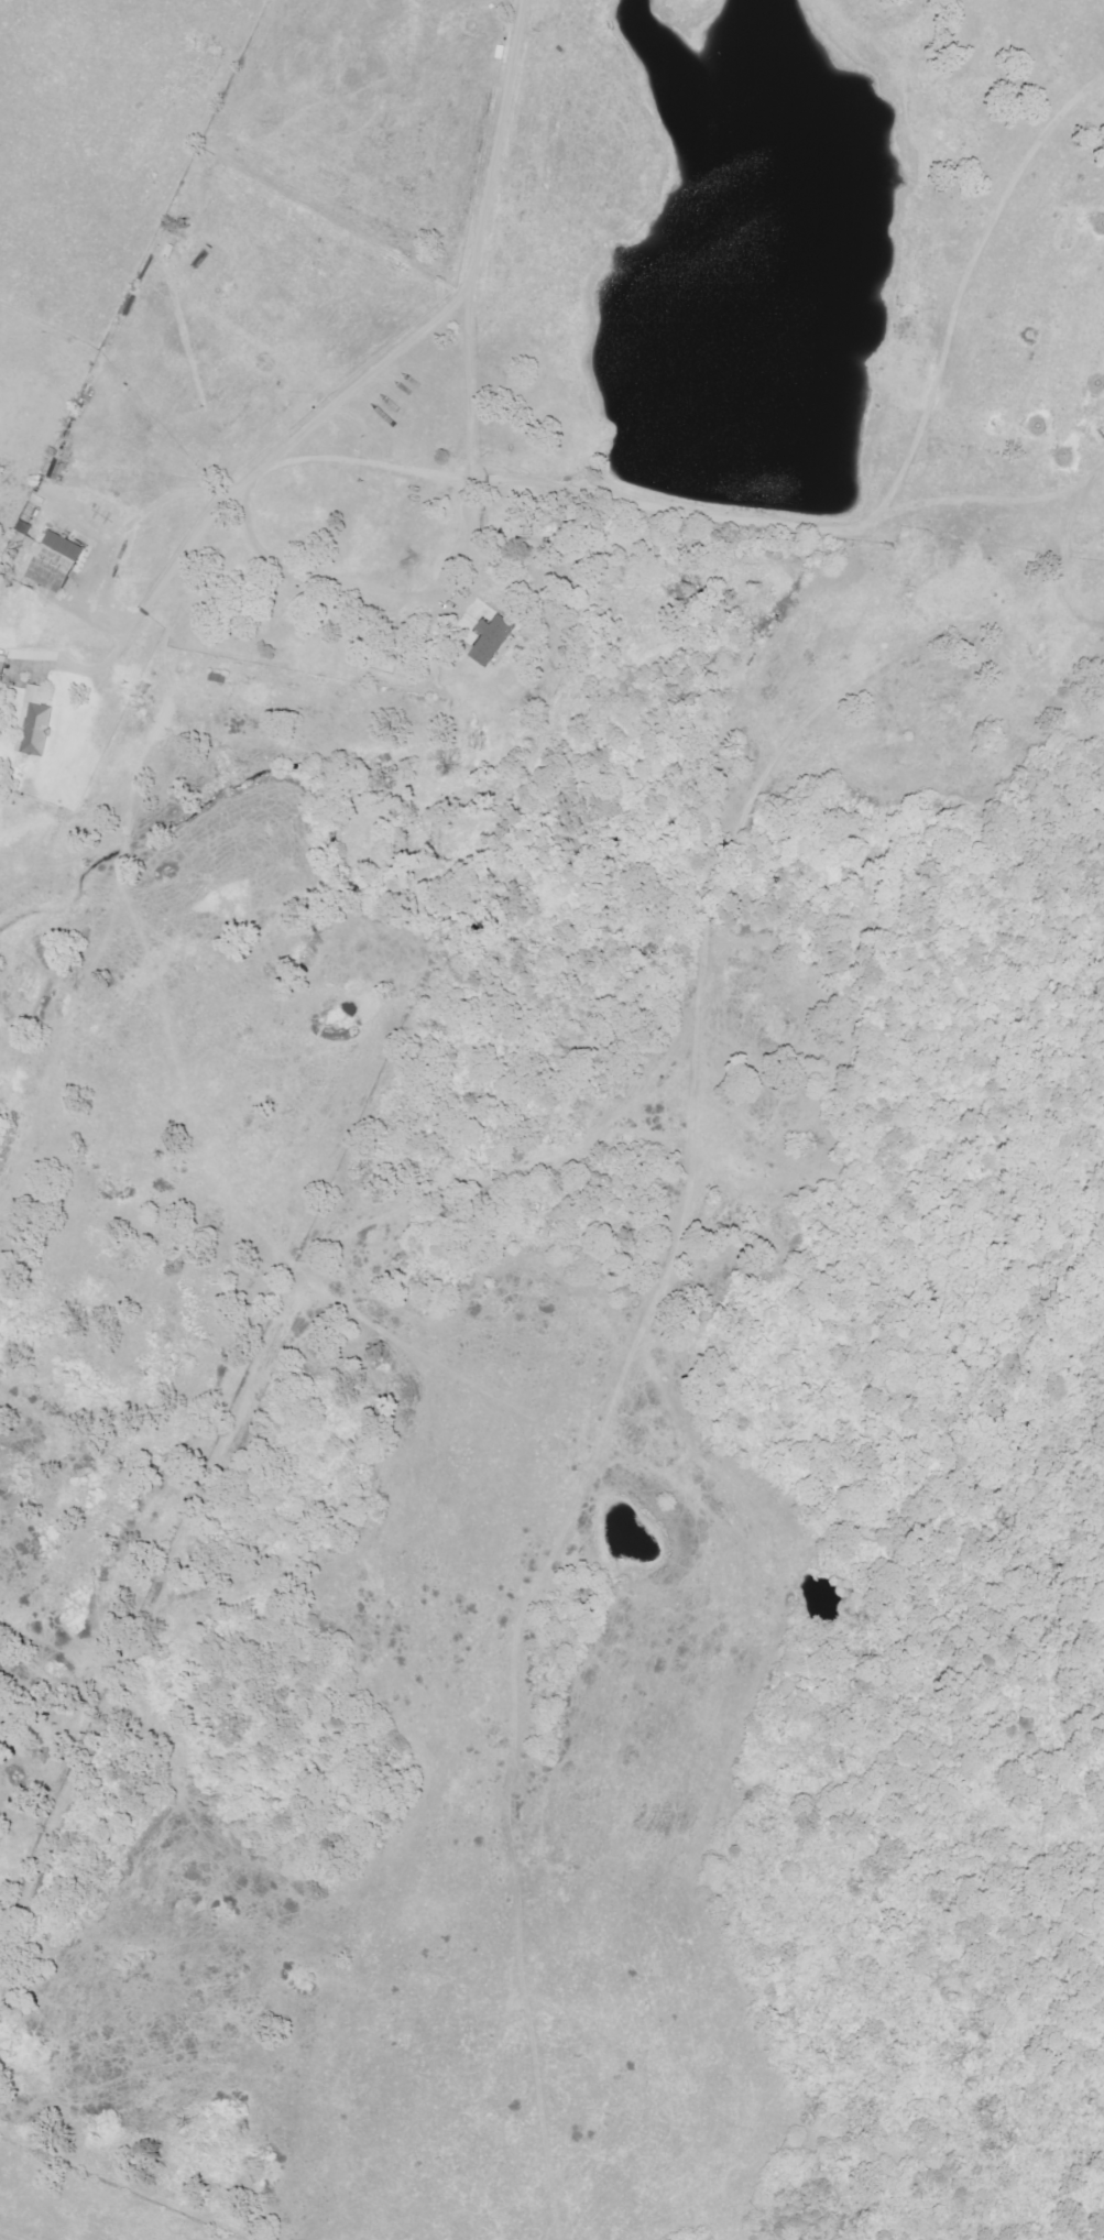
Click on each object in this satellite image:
road: (472, 378)
road: (357, 390)
road: (459, 562)
building: (53, 564)
building: (490, 641)
building: (1, 666)
building: (35, 726)

